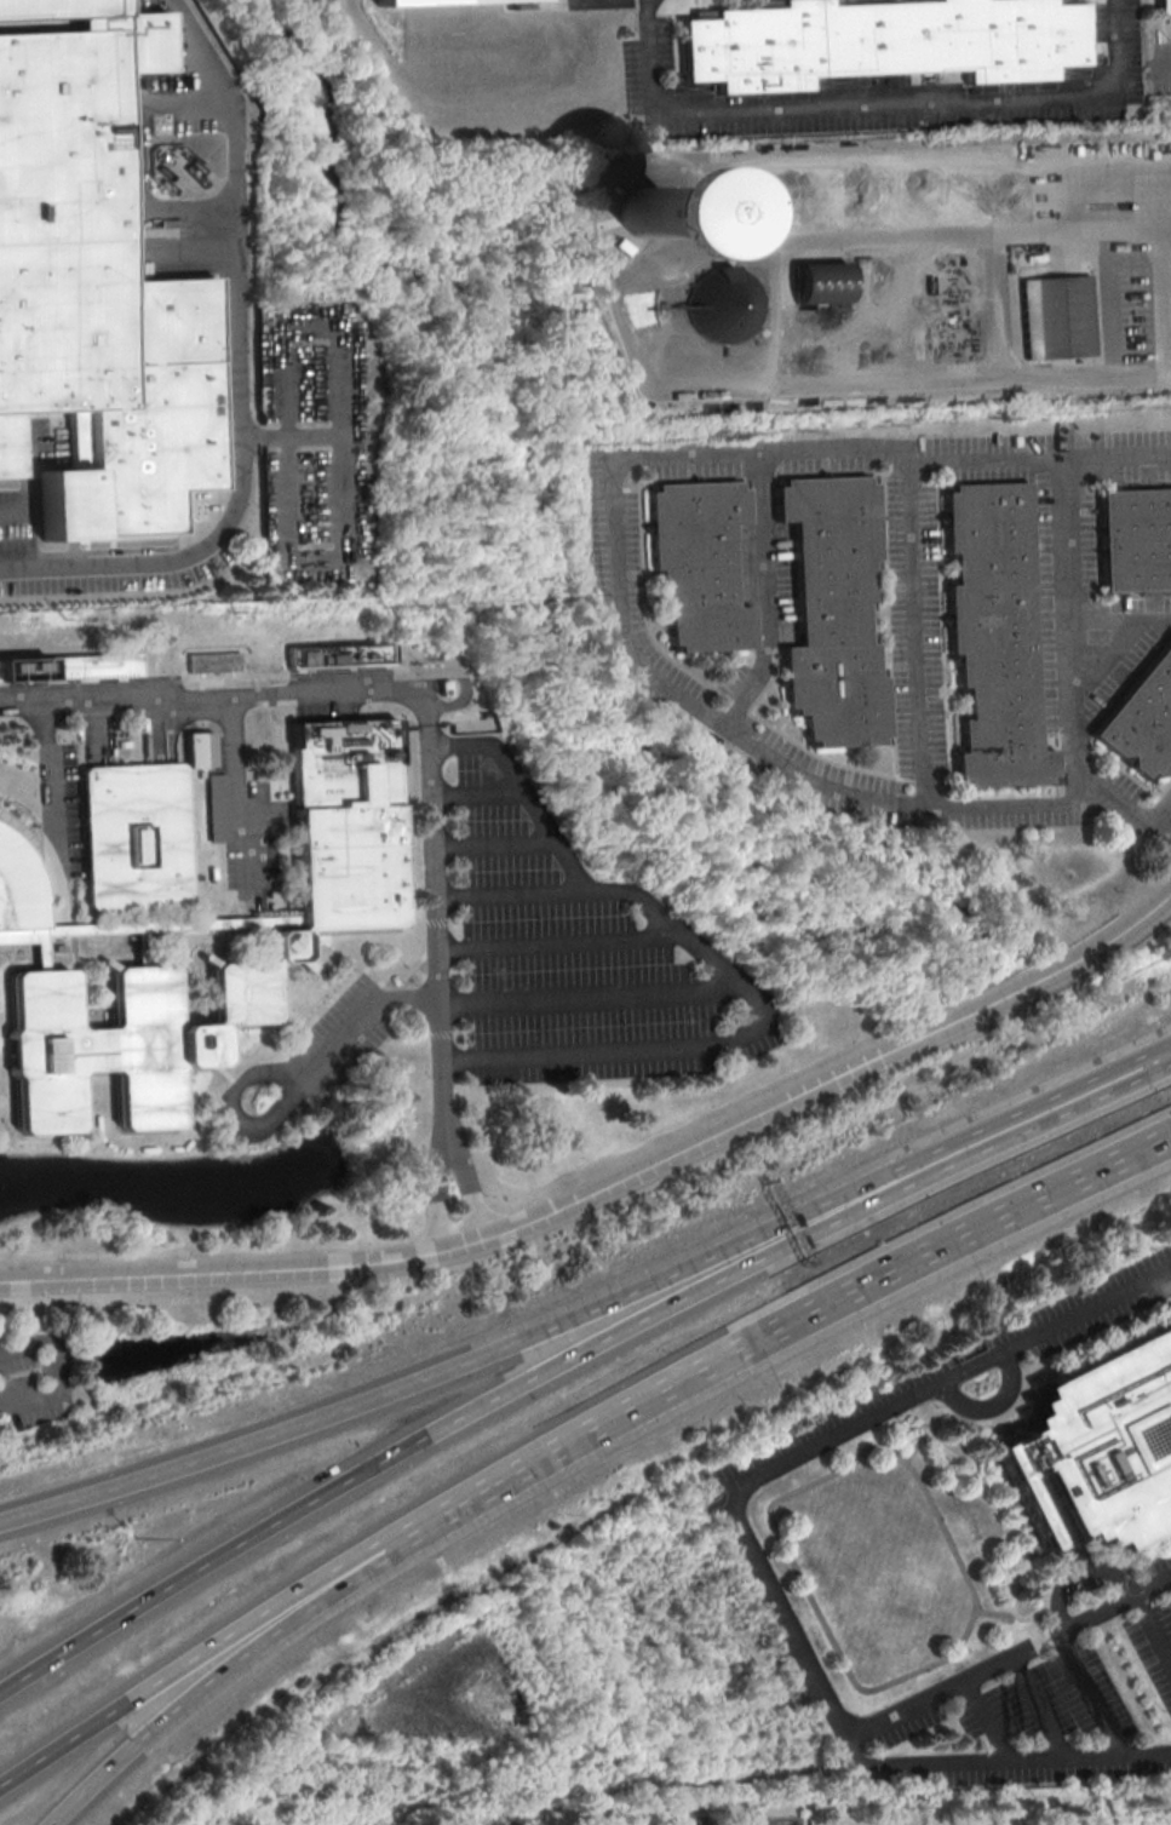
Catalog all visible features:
building: (431, 1)
building: (1165, 6)
building: (884, 42)
road: (883, 104)
road: (132, 154)
building: (642, 211)
water tower: (642, 211)
road: (945, 233)
road: (1165, 265)
building: (93, 282)
building: (819, 282)
building: (723, 304)
building: (1060, 320)
road: (305, 322)
road: (242, 378)
road: (27, 481)
road: (345, 530)
building: (1141, 541)
building: (707, 564)
road: (621, 578)
road: (771, 593)
building: (844, 613)
road: (1125, 620)
road: (1080, 629)
road: (924, 635)
building: (1004, 636)
building: (338, 655)
building: (213, 661)
building: (69, 666)
road: (457, 672)
building: (442, 685)
road: (225, 695)
building: (1147, 724)
building: (200, 748)
road: (50, 771)
road: (475, 794)
road: (236, 796)
building: (218, 807)
road: (1160, 813)
road: (490, 843)
road: (434, 865)
road: (417, 866)
road: (509, 895)
building: (188, 920)
road: (556, 942)
parking lot: (570, 951)
road: (717, 966)
road: (591, 995)
parking lot: (339, 1040)
road: (2, 1060)
road: (442, 1066)
road: (226, 1073)
road: (293, 1084)
road: (467, 1182)
road: (613, 1182)
road: (436, 1188)
road: (595, 1308)
road: (803, 1318)
road: (574, 1355)
parking lot: (964, 1364)
road: (53, 1370)
building: (1092, 1446)
road: (915, 1448)
road: (752, 1549)
road: (997, 1612)
road: (1154, 1626)
road: (966, 1632)
road: (218, 1642)
road: (1009, 1657)
road: (237, 1659)
road: (1092, 1694)
parking lot: (1038, 1706)
road: (1041, 1708)
road: (988, 1721)

